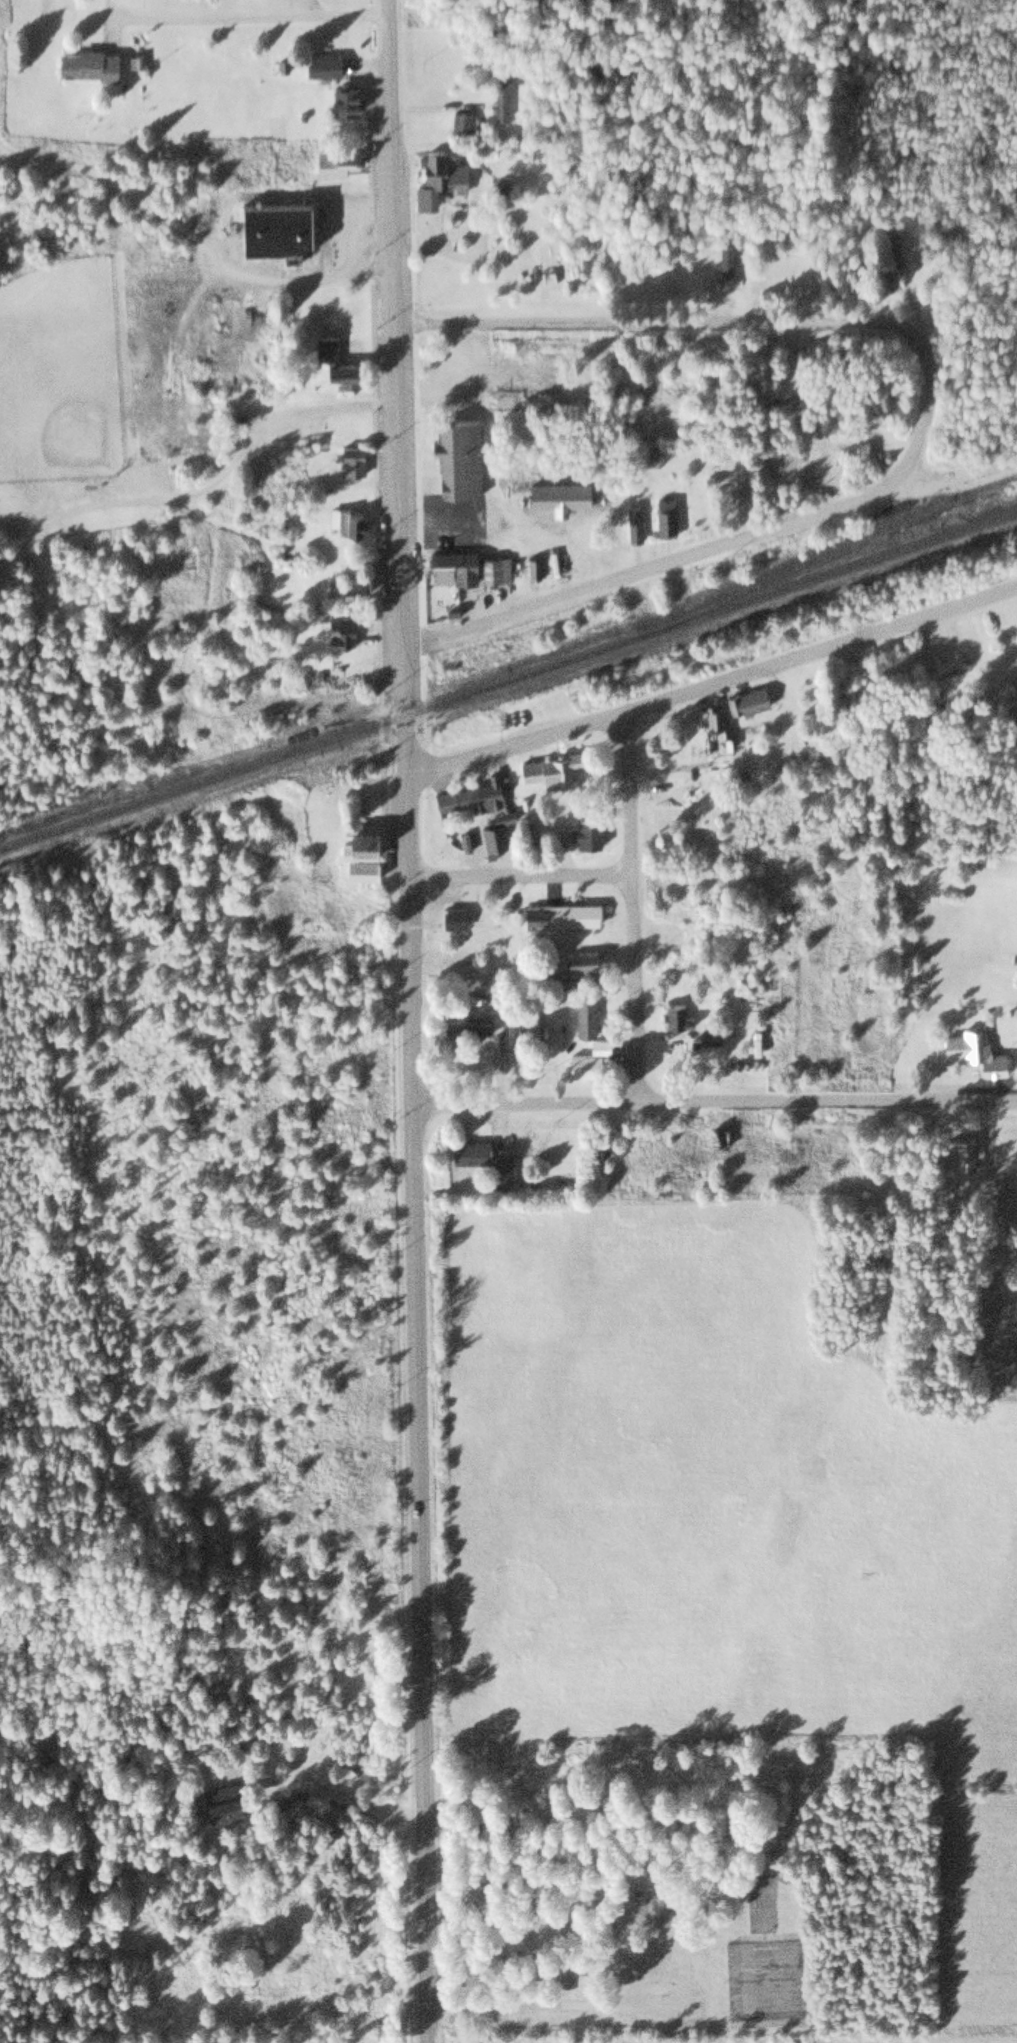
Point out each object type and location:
road: (251, 14)
building: (85, 62)
building: (320, 64)
building: (500, 89)
building: (341, 99)
building: (459, 121)
building: (335, 160)
building: (435, 176)
building: (271, 225)
building: (894, 255)
building: (723, 263)
road: (701, 320)
building: (331, 360)
building: (457, 455)
building: (349, 458)
building: (557, 493)
building: (663, 516)
building: (348, 519)
building: (632, 523)
railway: (826, 552)
road: (680, 557)
building: (451, 566)
railway: (827, 572)
building: (337, 629)
building: (948, 659)
road: (711, 683)
building: (746, 700)
building: (712, 729)
railway: (318, 740)
building: (548, 765)
building: (471, 791)
building: (577, 827)
building: (494, 828)
building: (359, 836)
road: (517, 872)
road: (631, 906)
building: (559, 911)
building: (452, 914)
building: (580, 961)
building: (598, 981)
building: (675, 1015)
building: (584, 1016)
road: (405, 1021)
building: (466, 1026)
building: (709, 1035)
building: (598, 1044)
building: (974, 1049)
building: (582, 1064)
road: (711, 1100)
building: (716, 1136)
building: (599, 1145)
building: (469, 1151)
building: (499, 1168)
building: (223, 1801)
building: (354, 1812)

